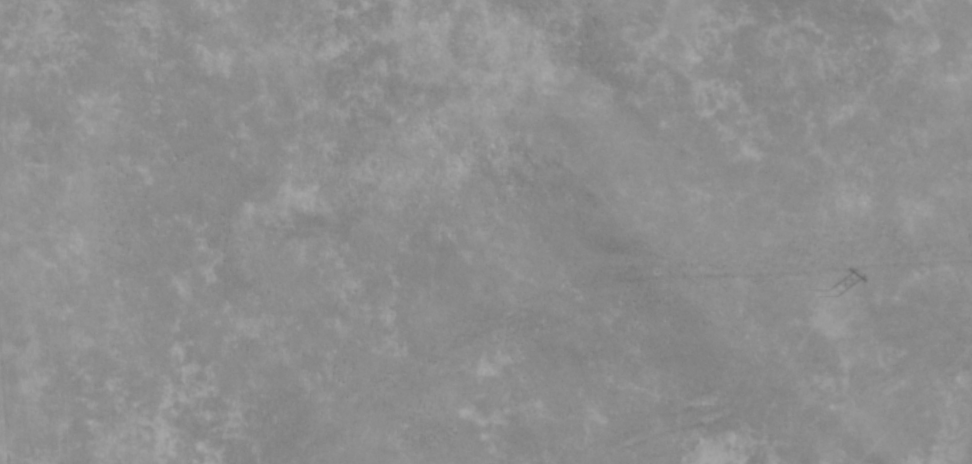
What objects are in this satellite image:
power tower: (838, 291)

